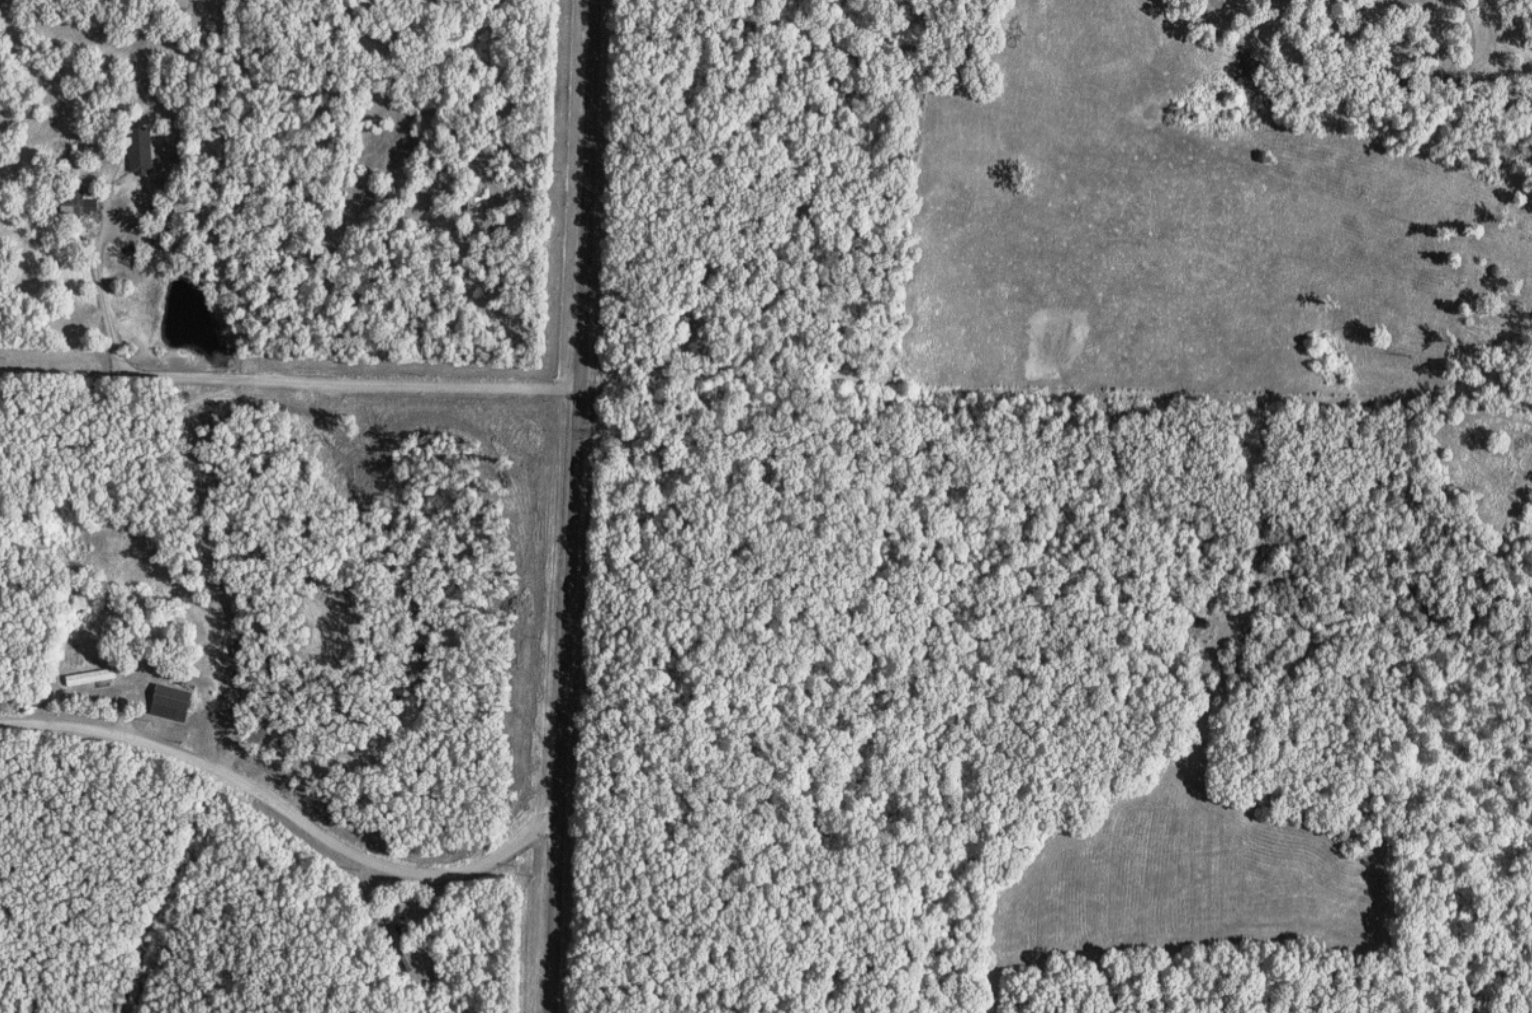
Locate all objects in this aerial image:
building: (144, 158)
building: (86, 205)
road: (72, 372)
road: (253, 378)
road: (583, 506)
building: (98, 676)
building: (179, 703)
road: (292, 810)

